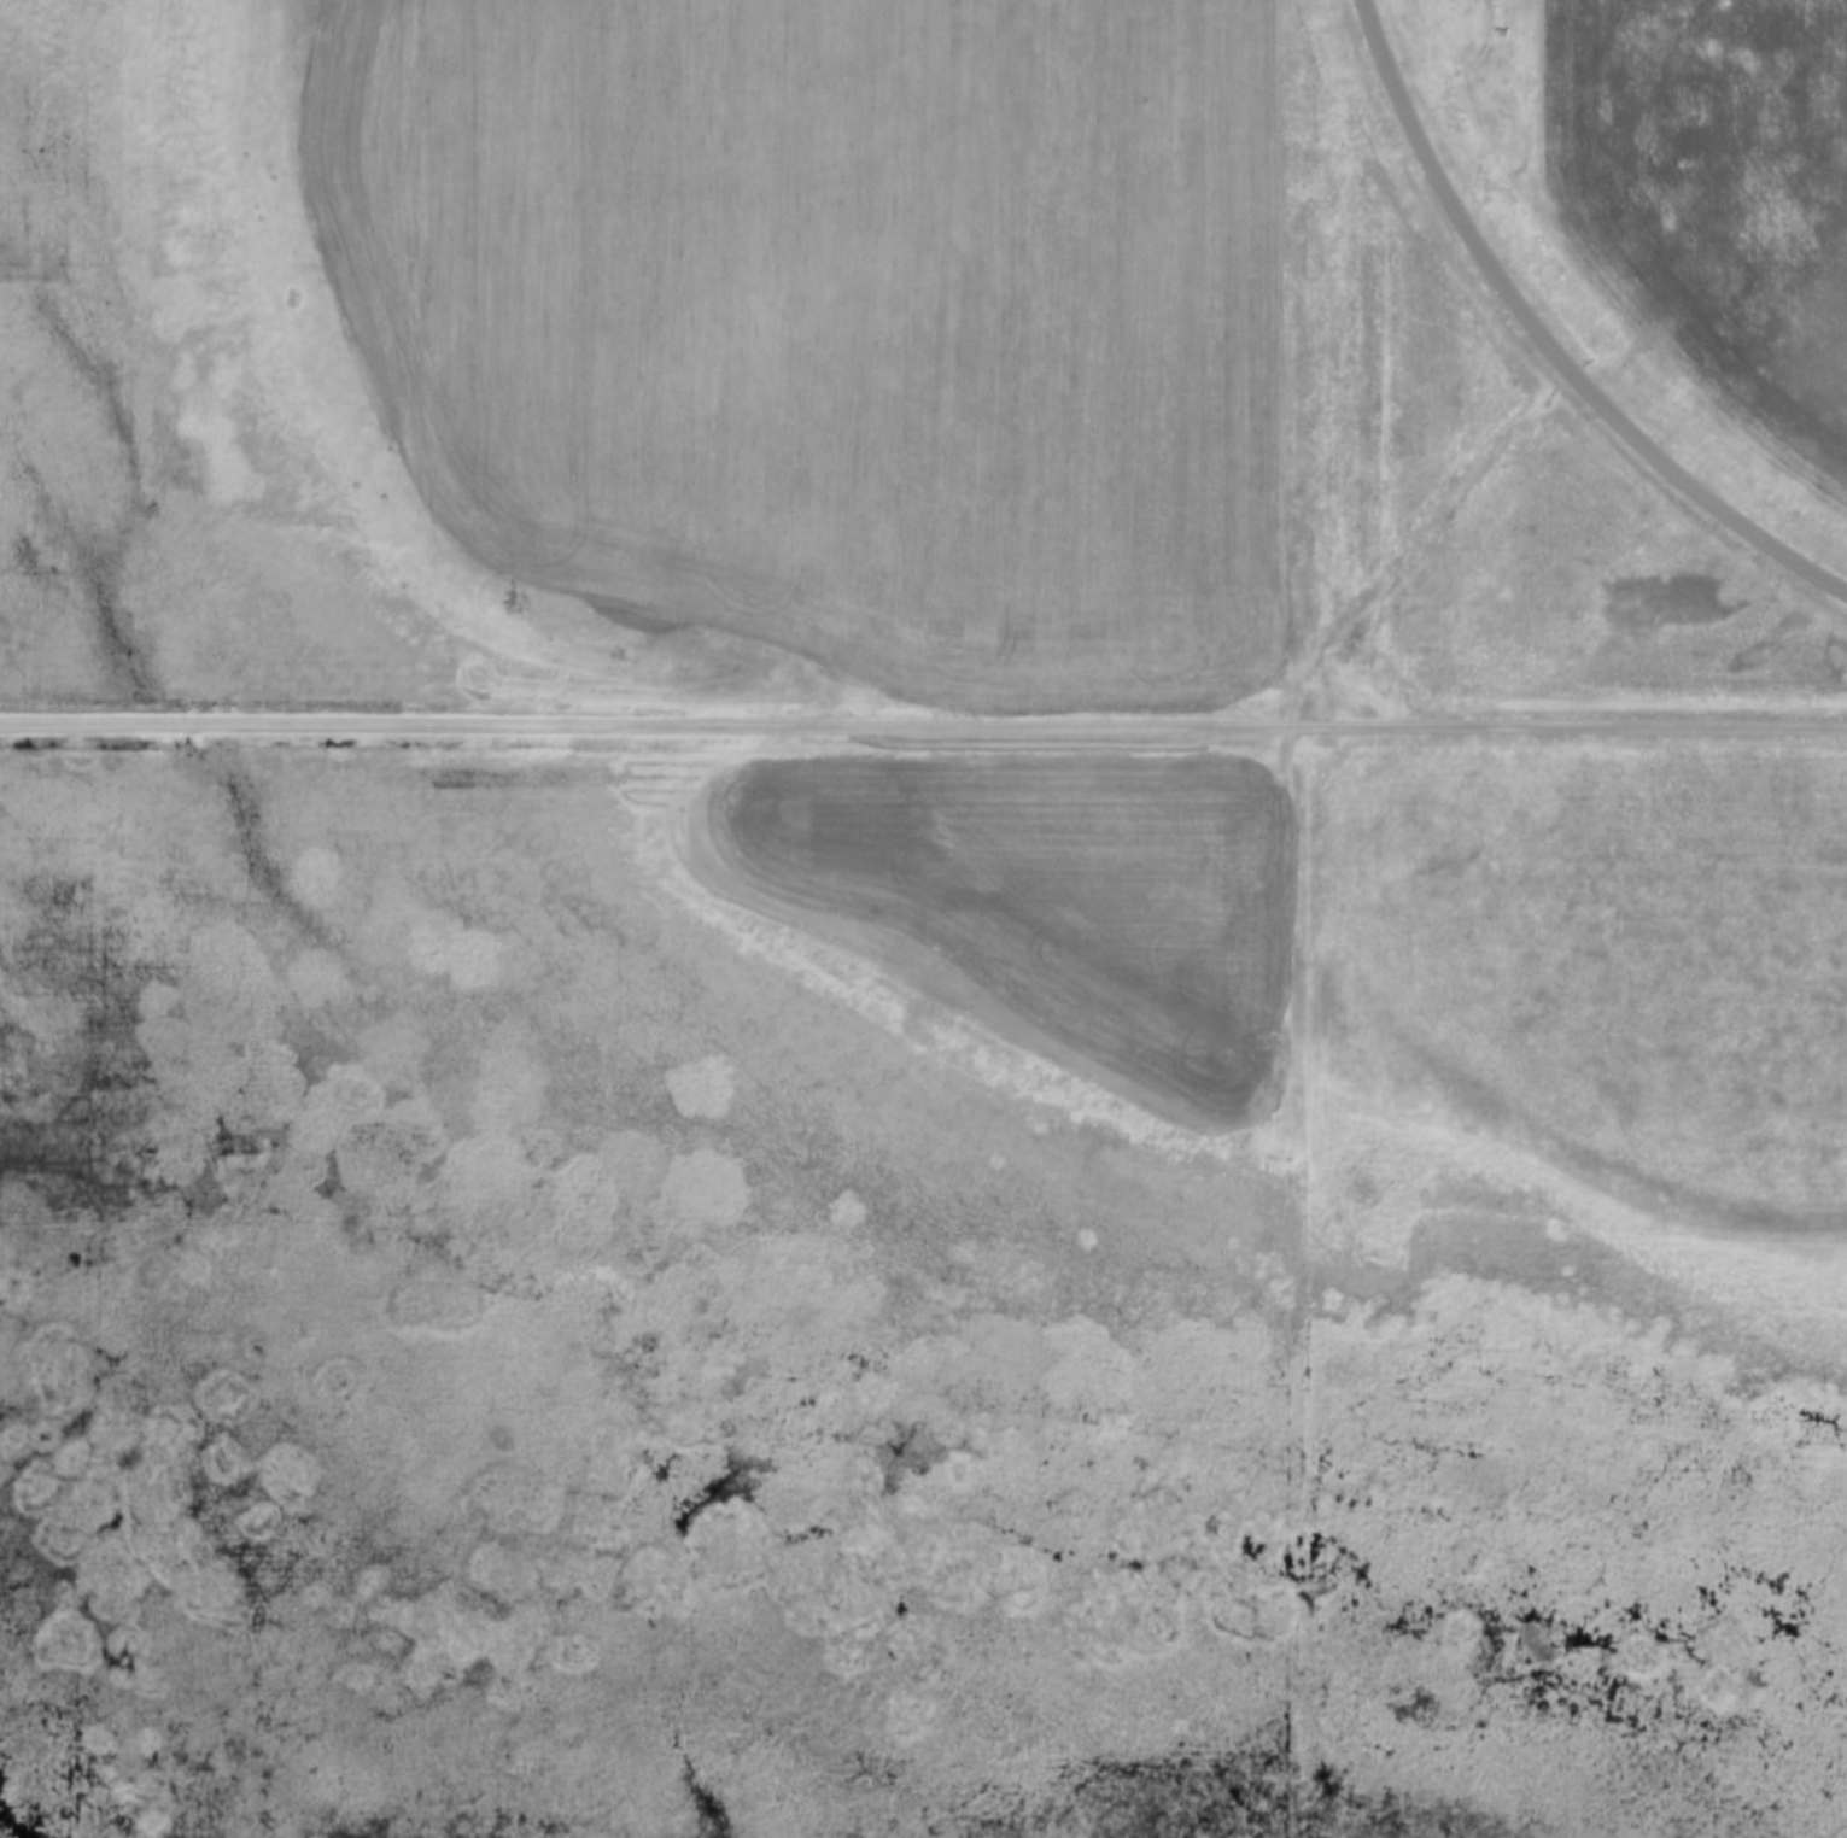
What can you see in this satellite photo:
road: (1414, 109)
building: (169, 375)
road: (1635, 425)
building: (16, 432)
road: (923, 724)

